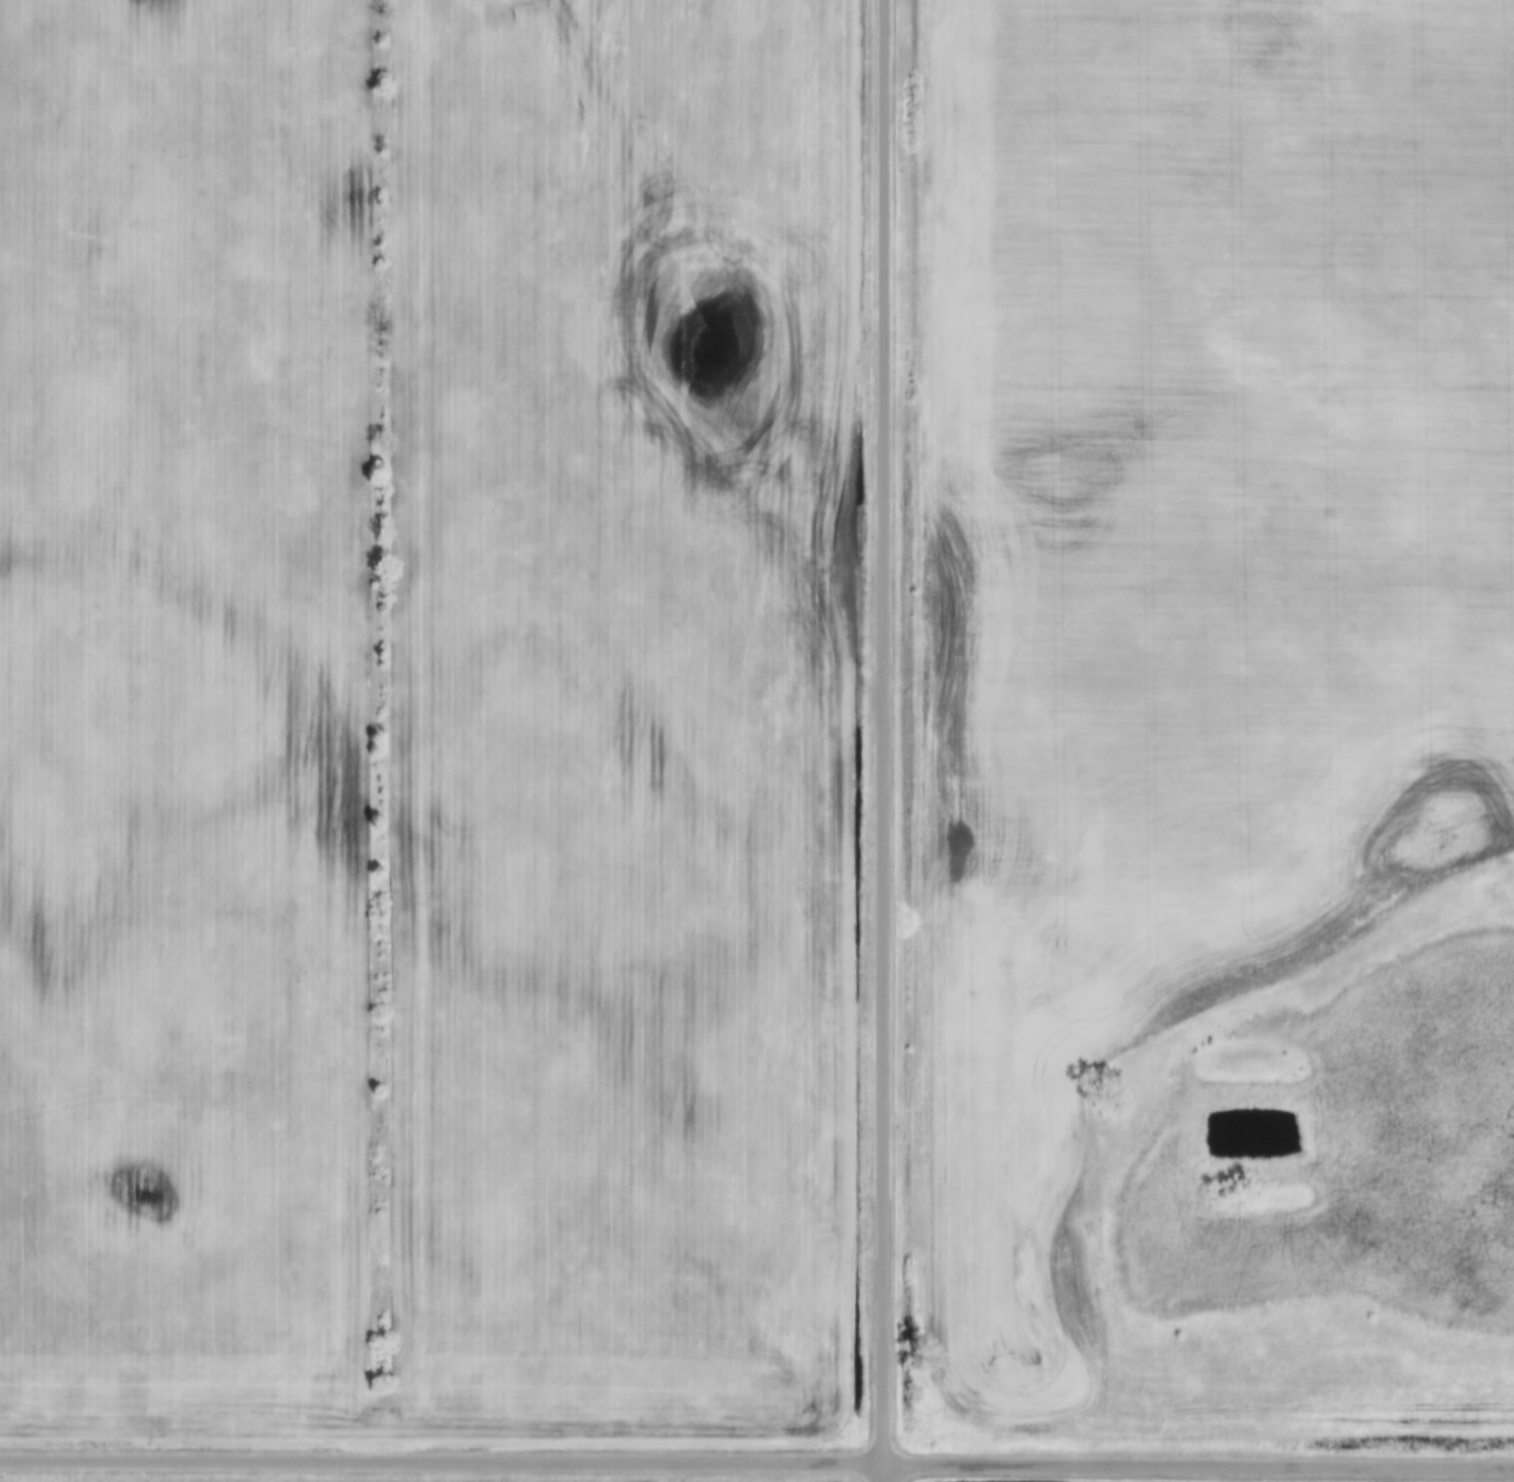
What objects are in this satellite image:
road: (883, 741)
road: (757, 1461)

